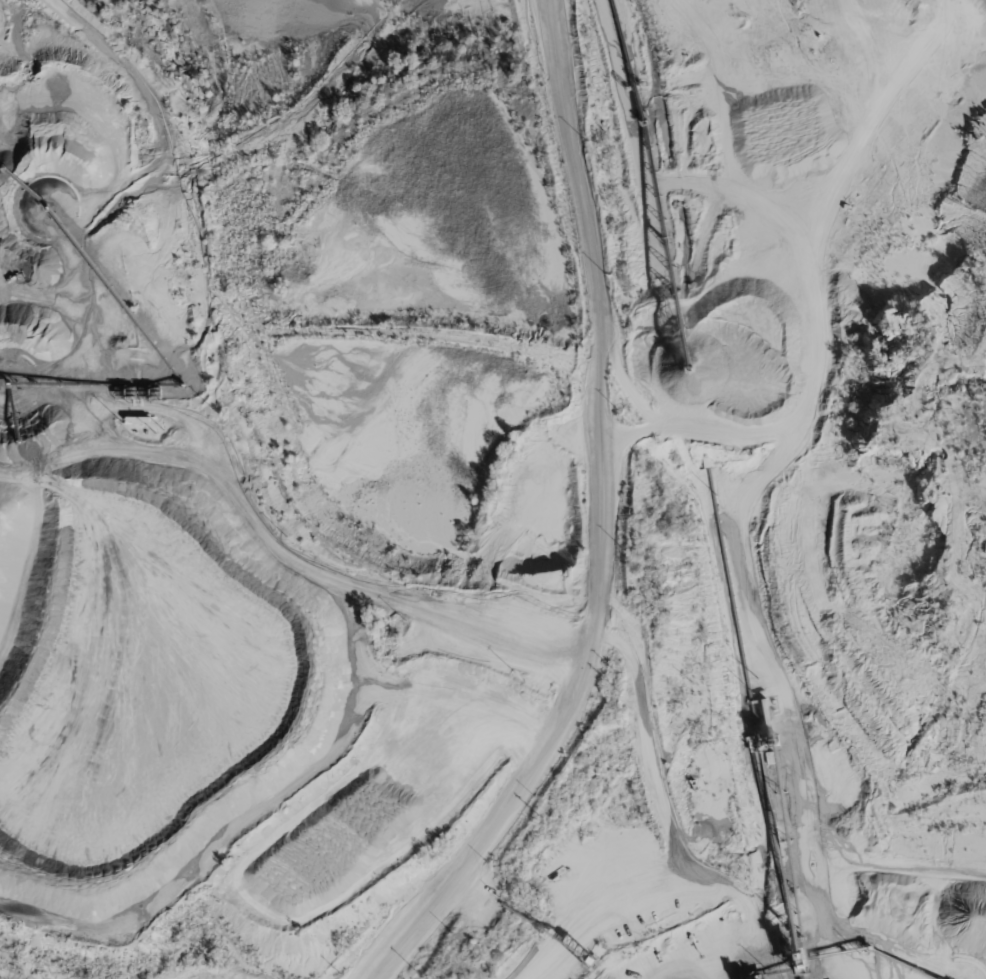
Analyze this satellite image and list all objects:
quarry: (493, 489)
road: (595, 524)

